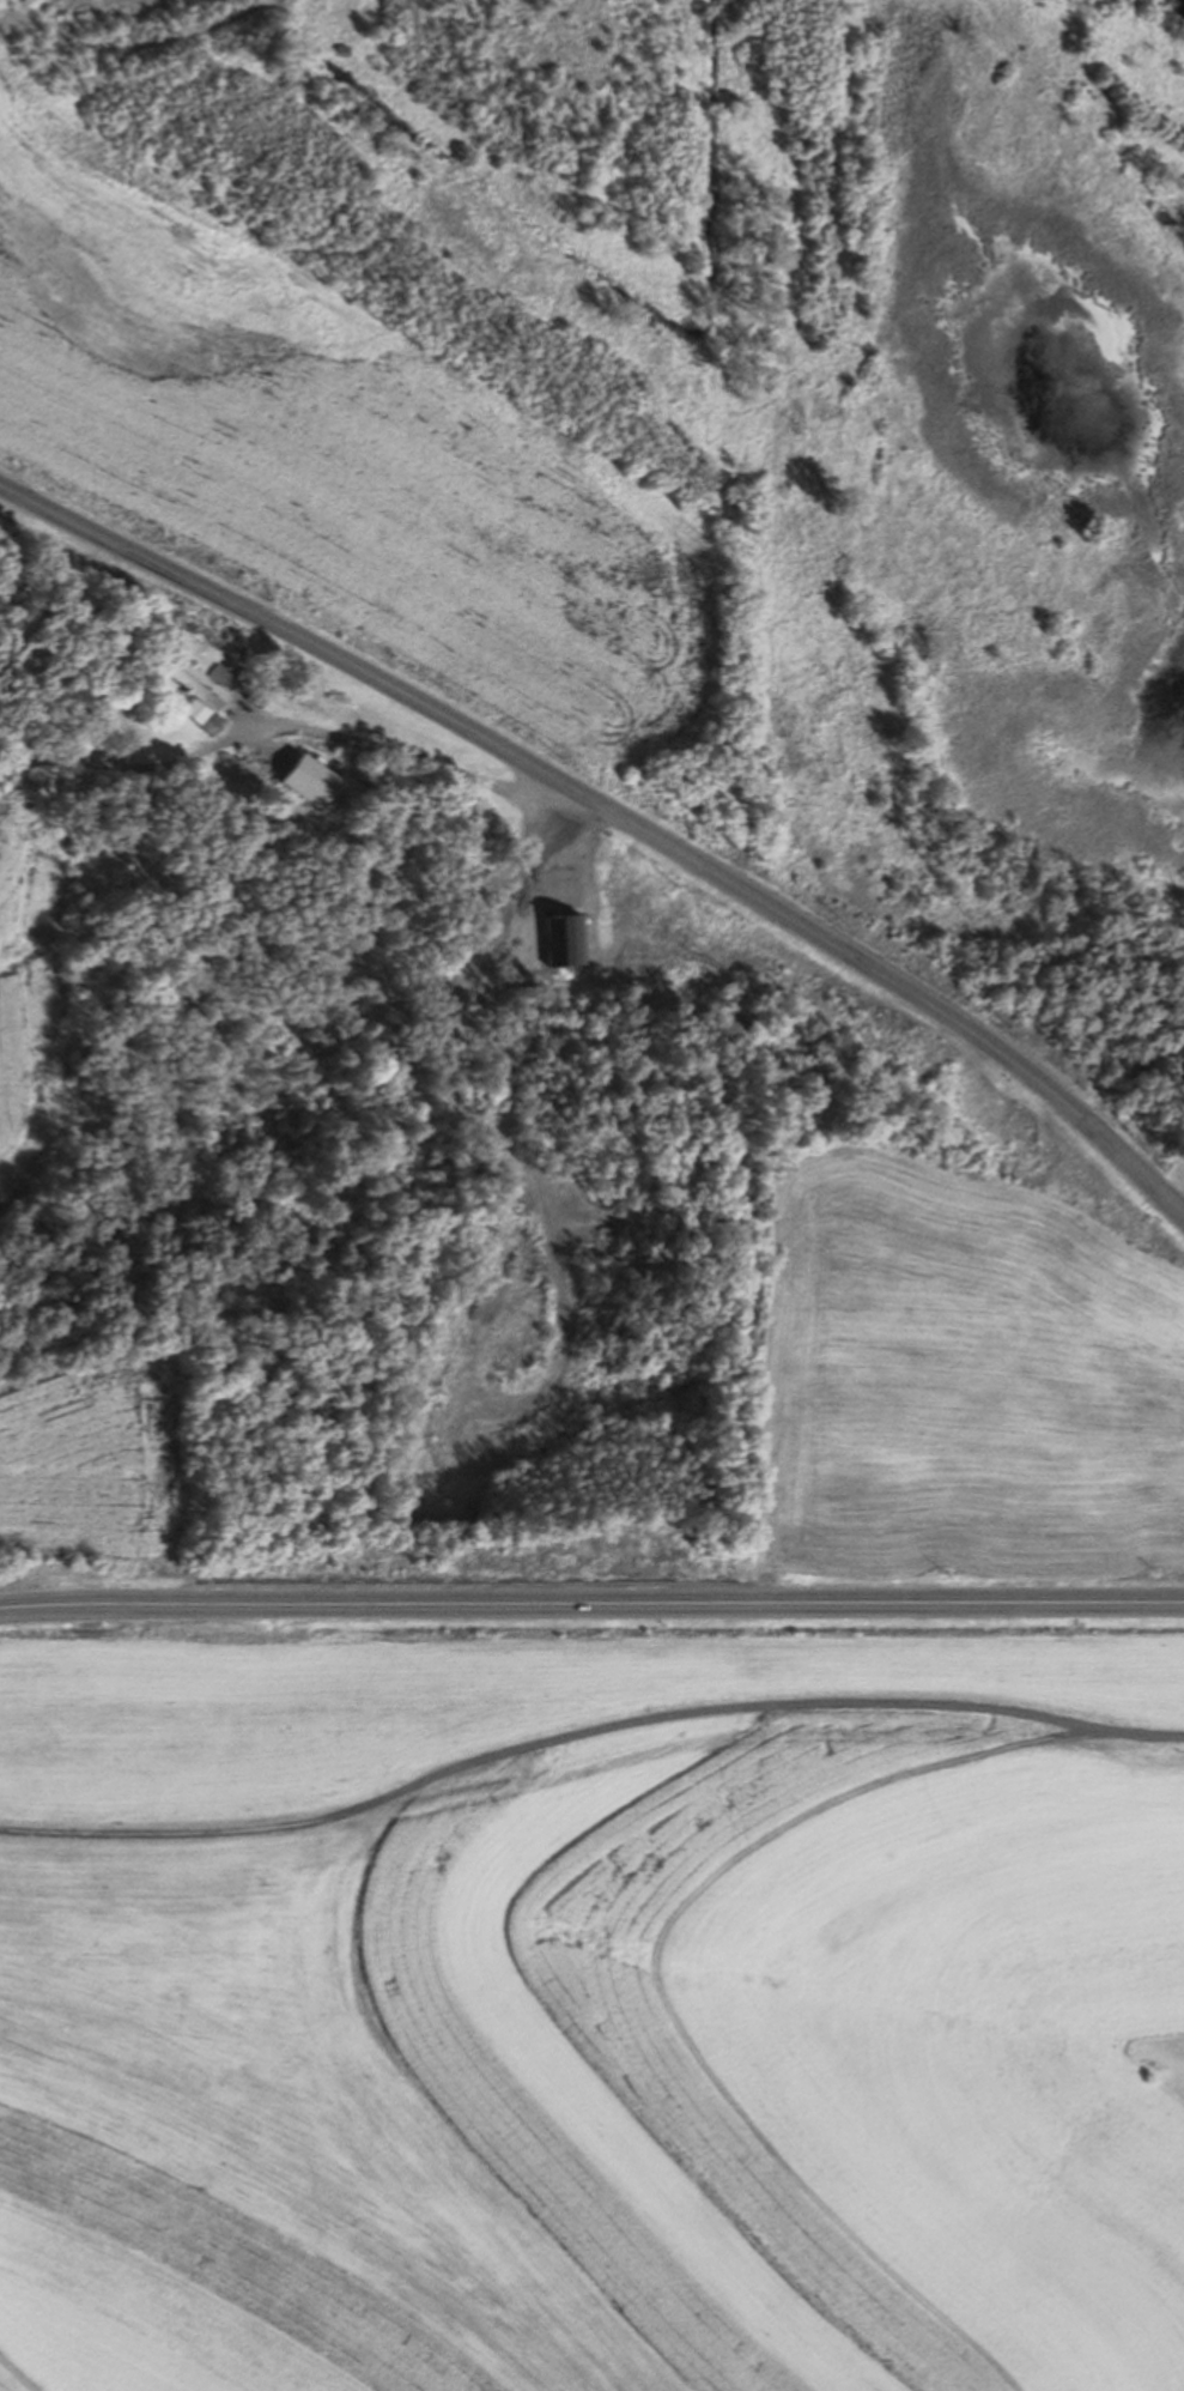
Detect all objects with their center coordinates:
building: (200, 686)
road: (278, 728)
building: (314, 782)
road: (617, 812)
building: (596, 927)
road: (470, 1118)
road: (1183, 1215)
road: (591, 1604)
road: (590, 1756)
road: (663, 2012)
road: (24, 2367)

